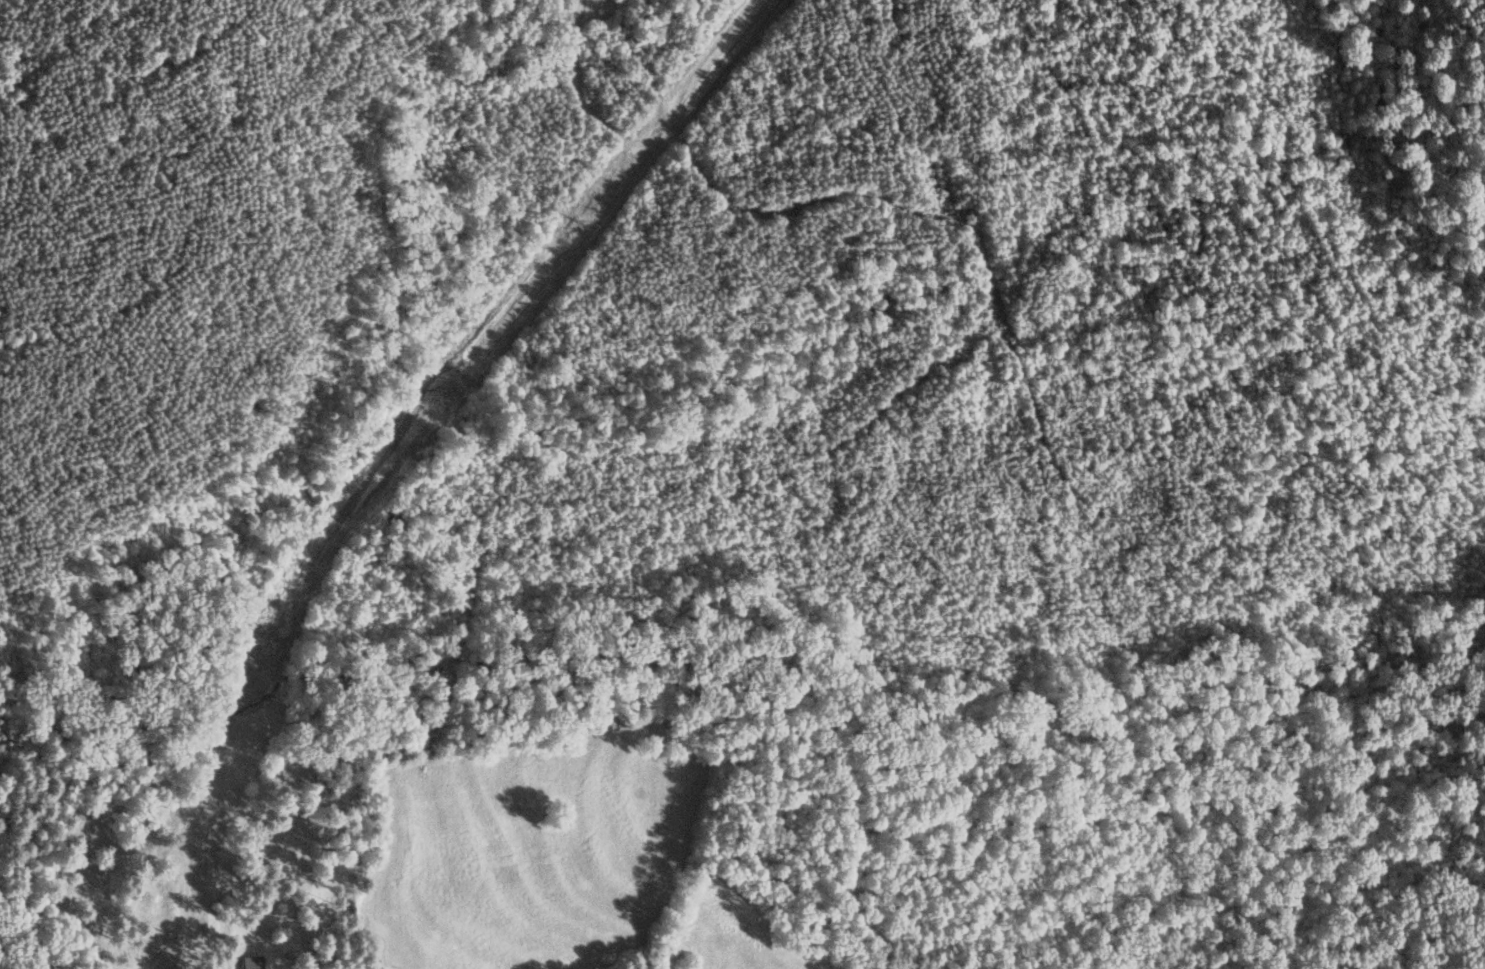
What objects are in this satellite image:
road: (15, 74)
building: (251, 962)

